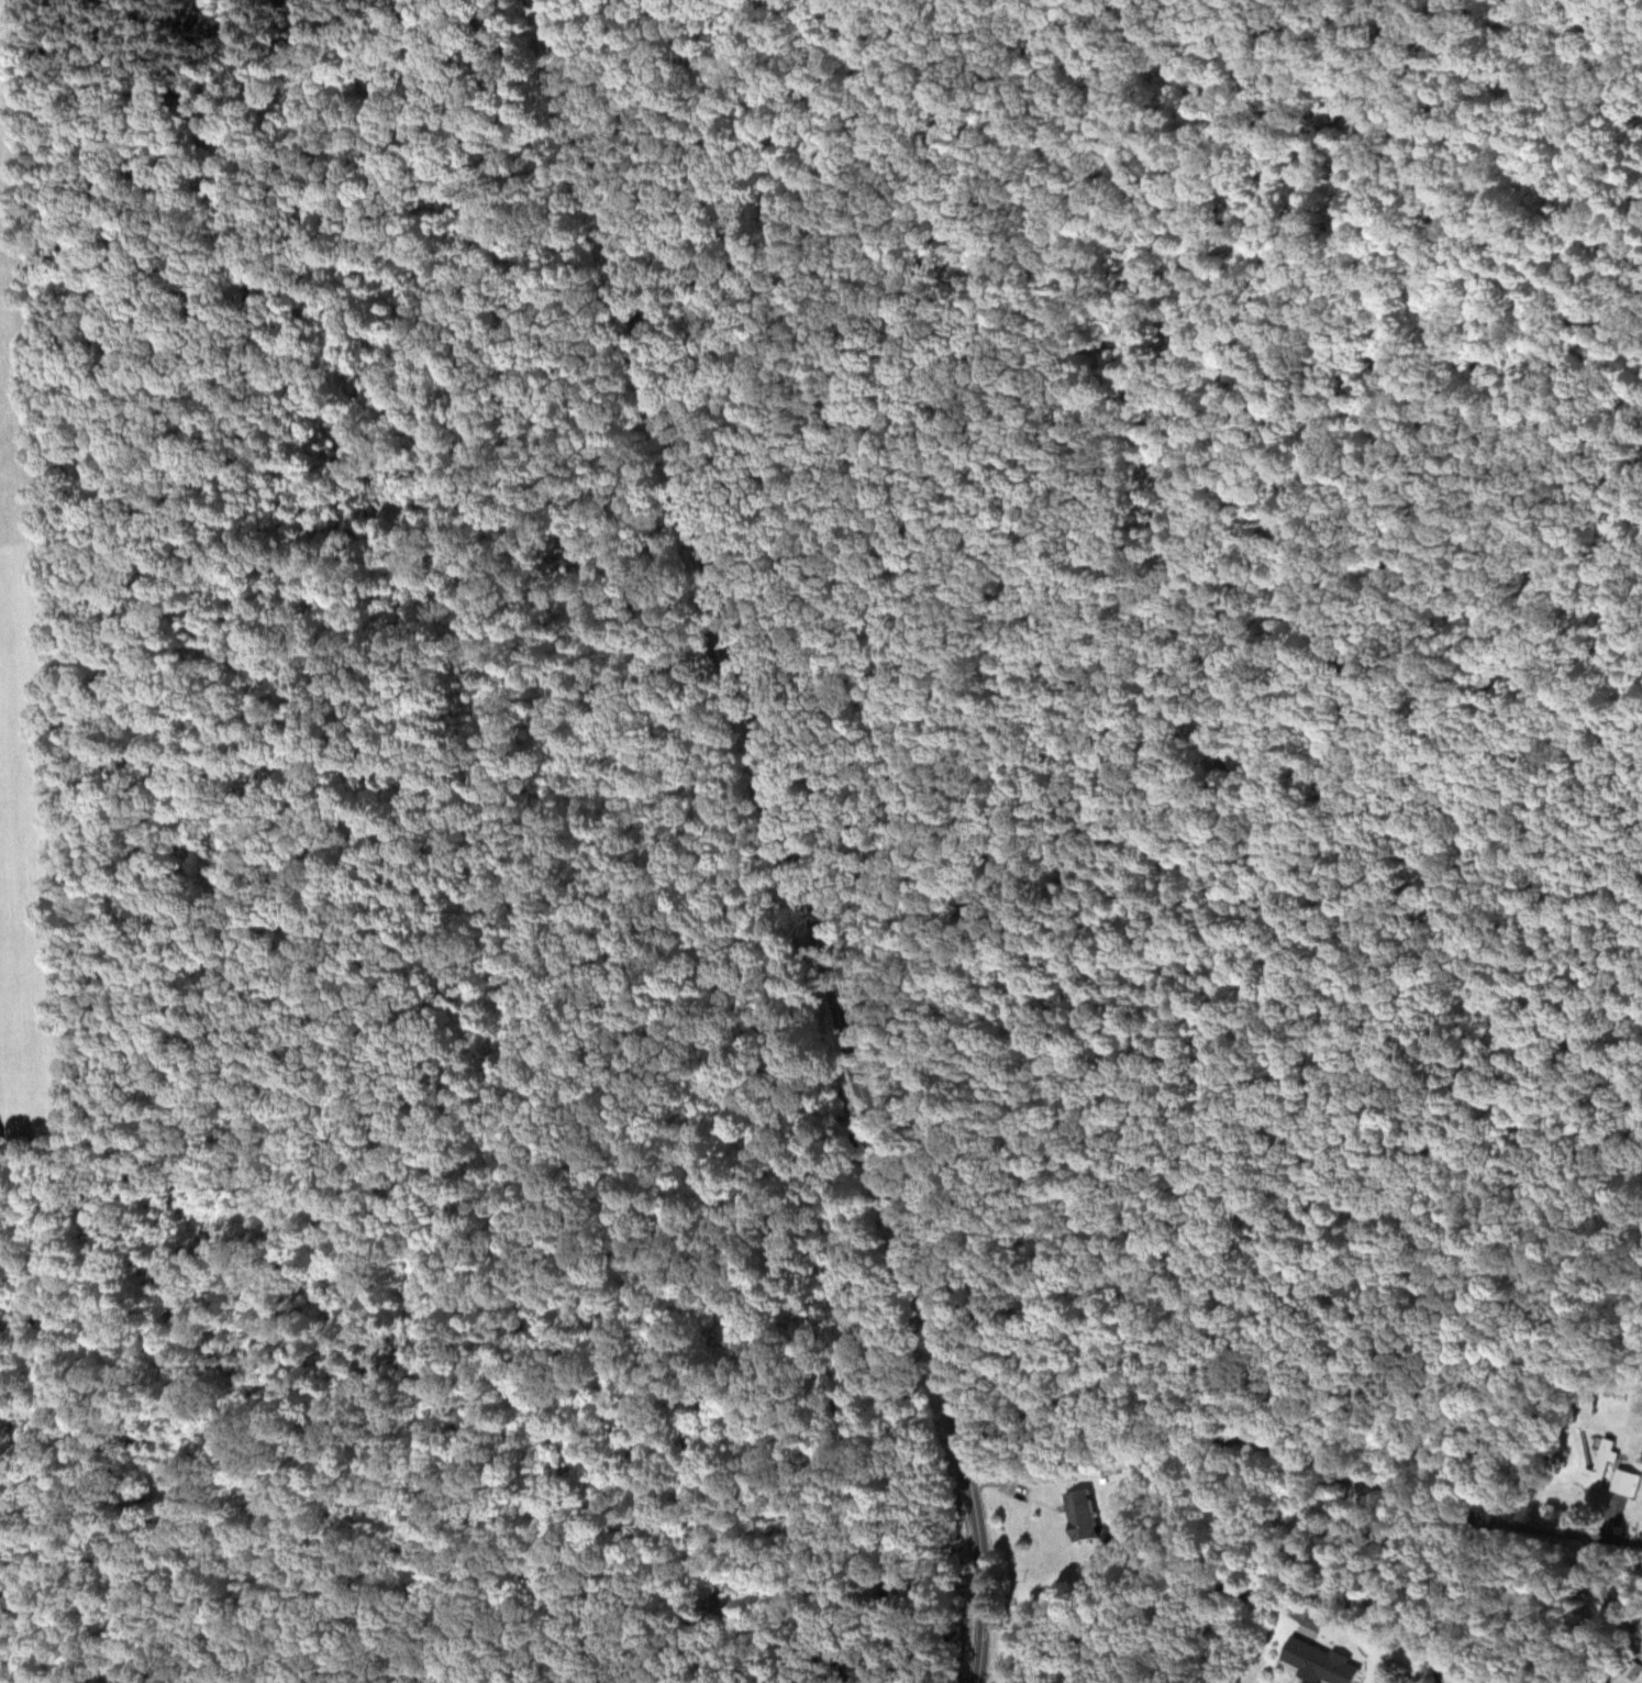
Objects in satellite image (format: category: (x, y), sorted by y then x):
road: (779, 839)
road: (1311, 1438)
building: (1602, 1462)
building: (1624, 1482)
building: (1083, 1515)
building: (1320, 1661)

